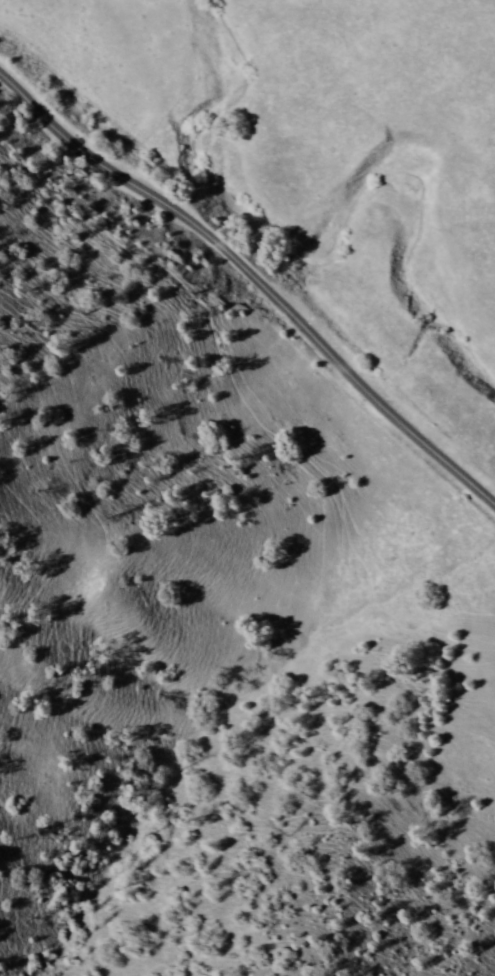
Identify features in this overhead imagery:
road: (253, 275)
crop: (463, 438)
crop: (454, 530)

